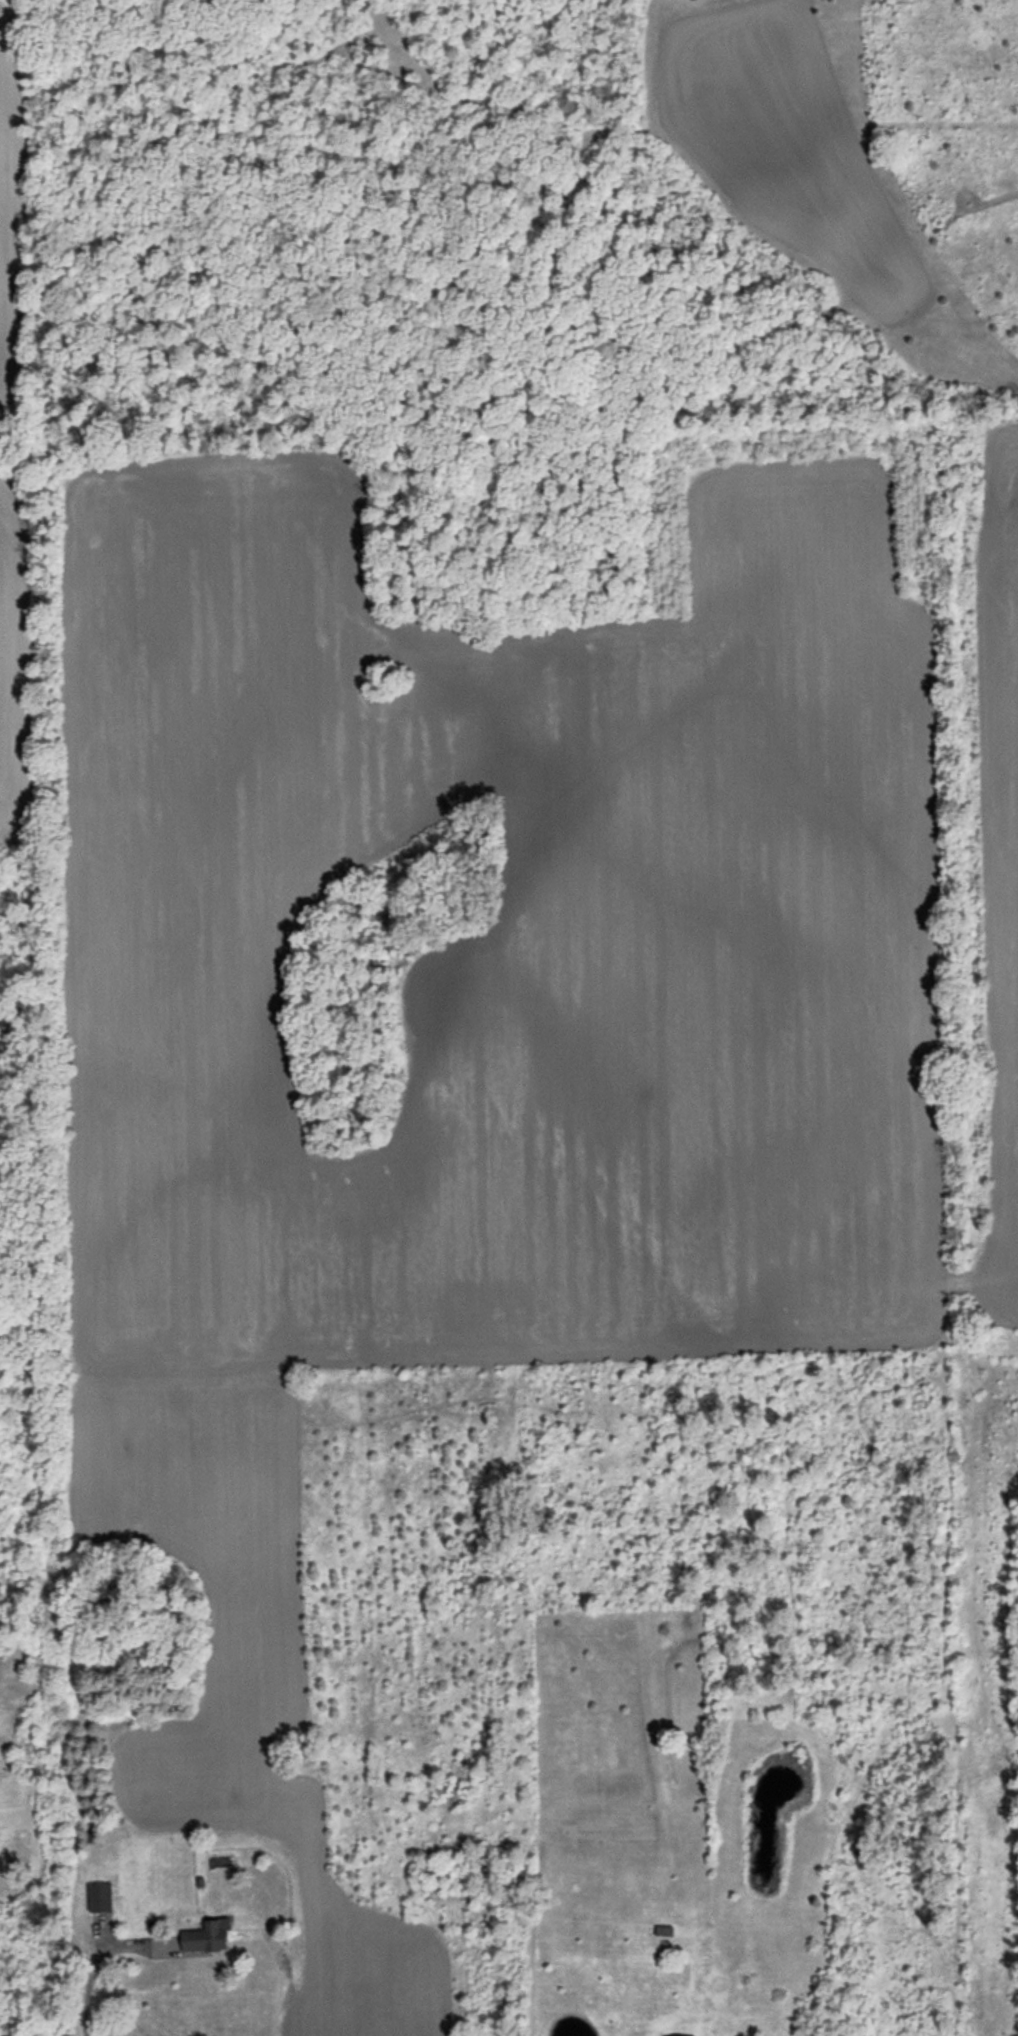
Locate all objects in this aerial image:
building: (100, 1897)
building: (207, 1936)
road: (92, 1967)

